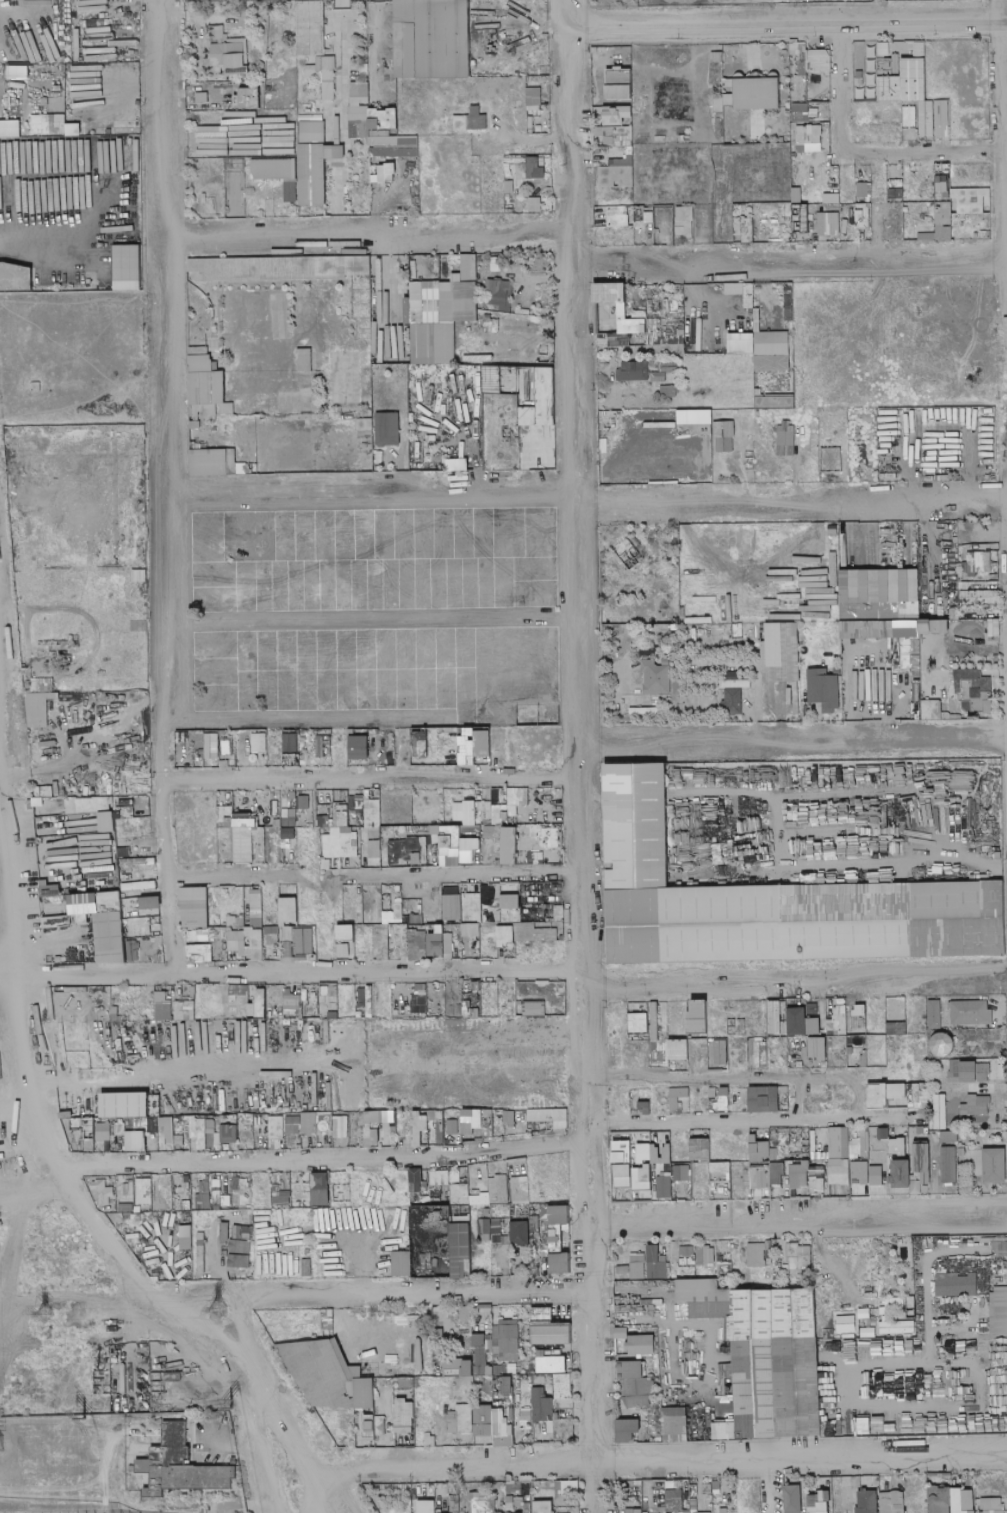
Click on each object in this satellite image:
power tower: (211, 1310)
power tower: (39, 1314)
power tower: (228, 1409)
power tower: (80, 1420)
power tower: (131, 1434)
power substation: (118, 1465)

